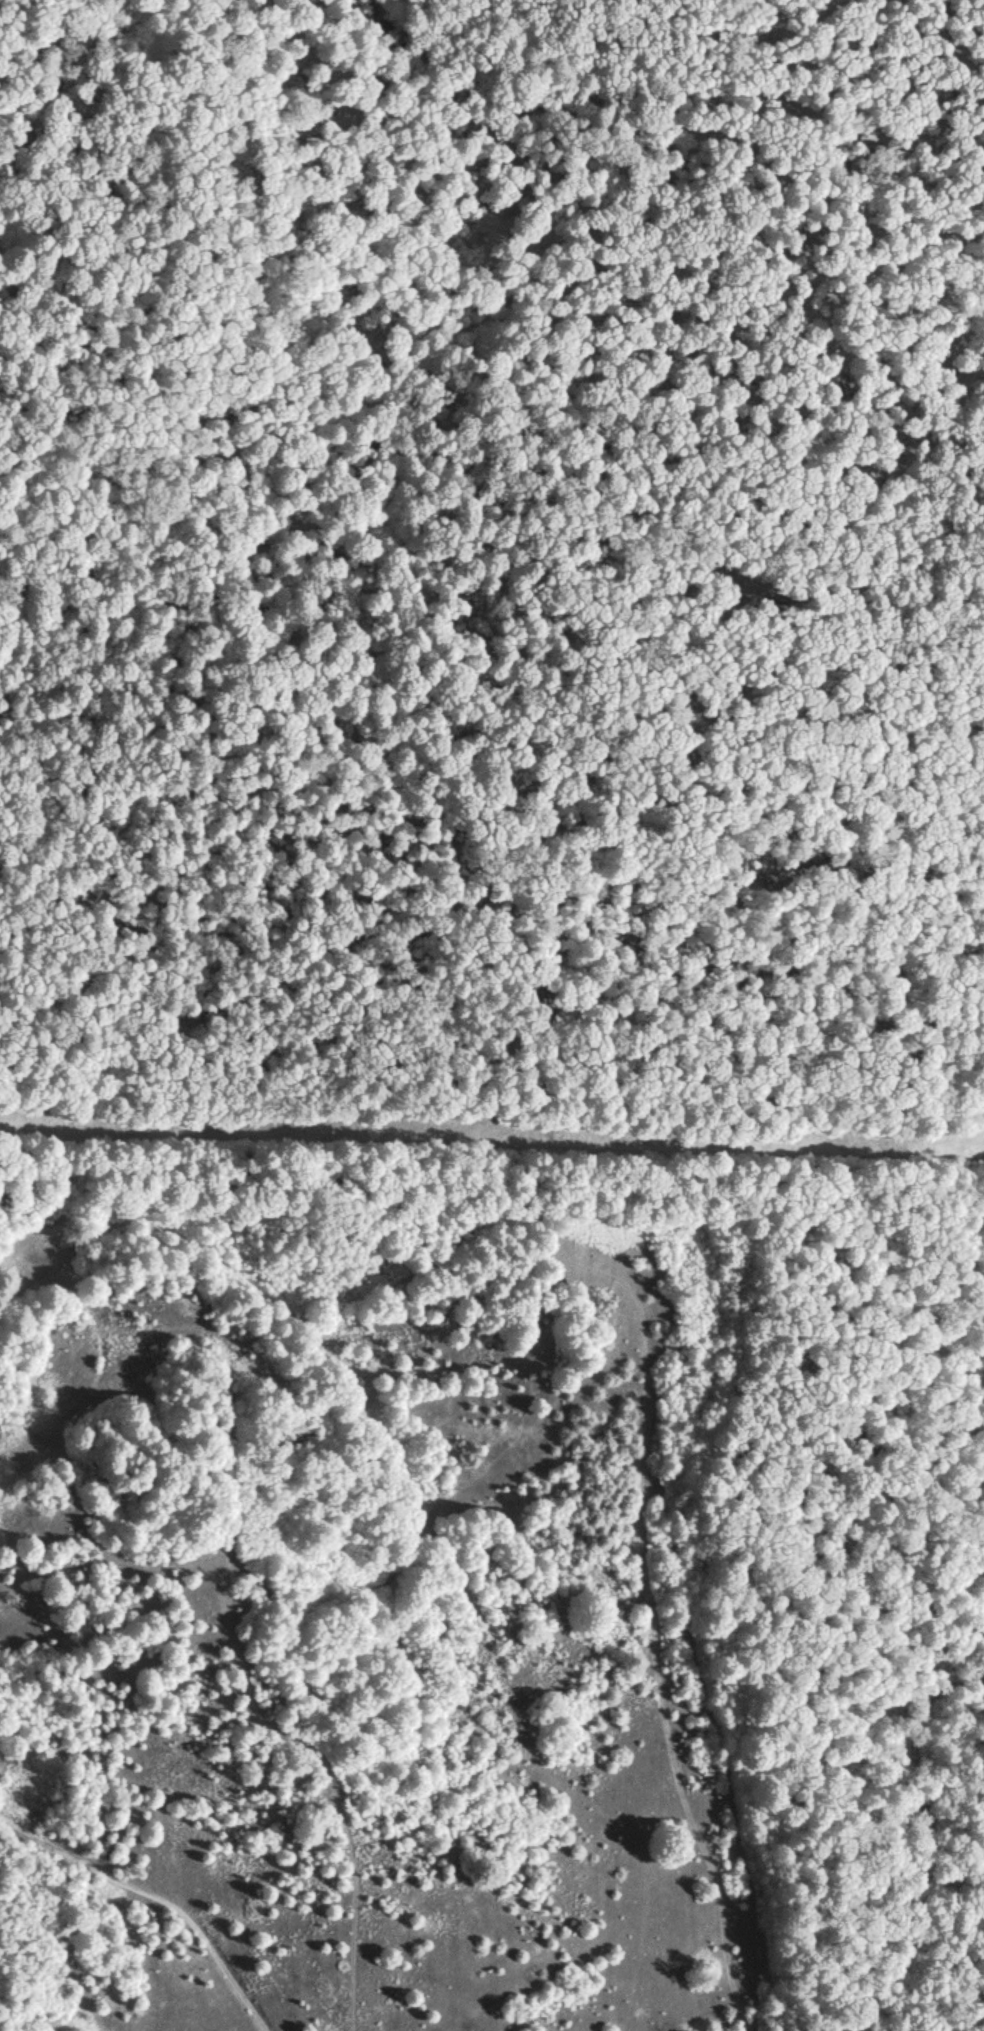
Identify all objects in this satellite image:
road: (632, 1310)

